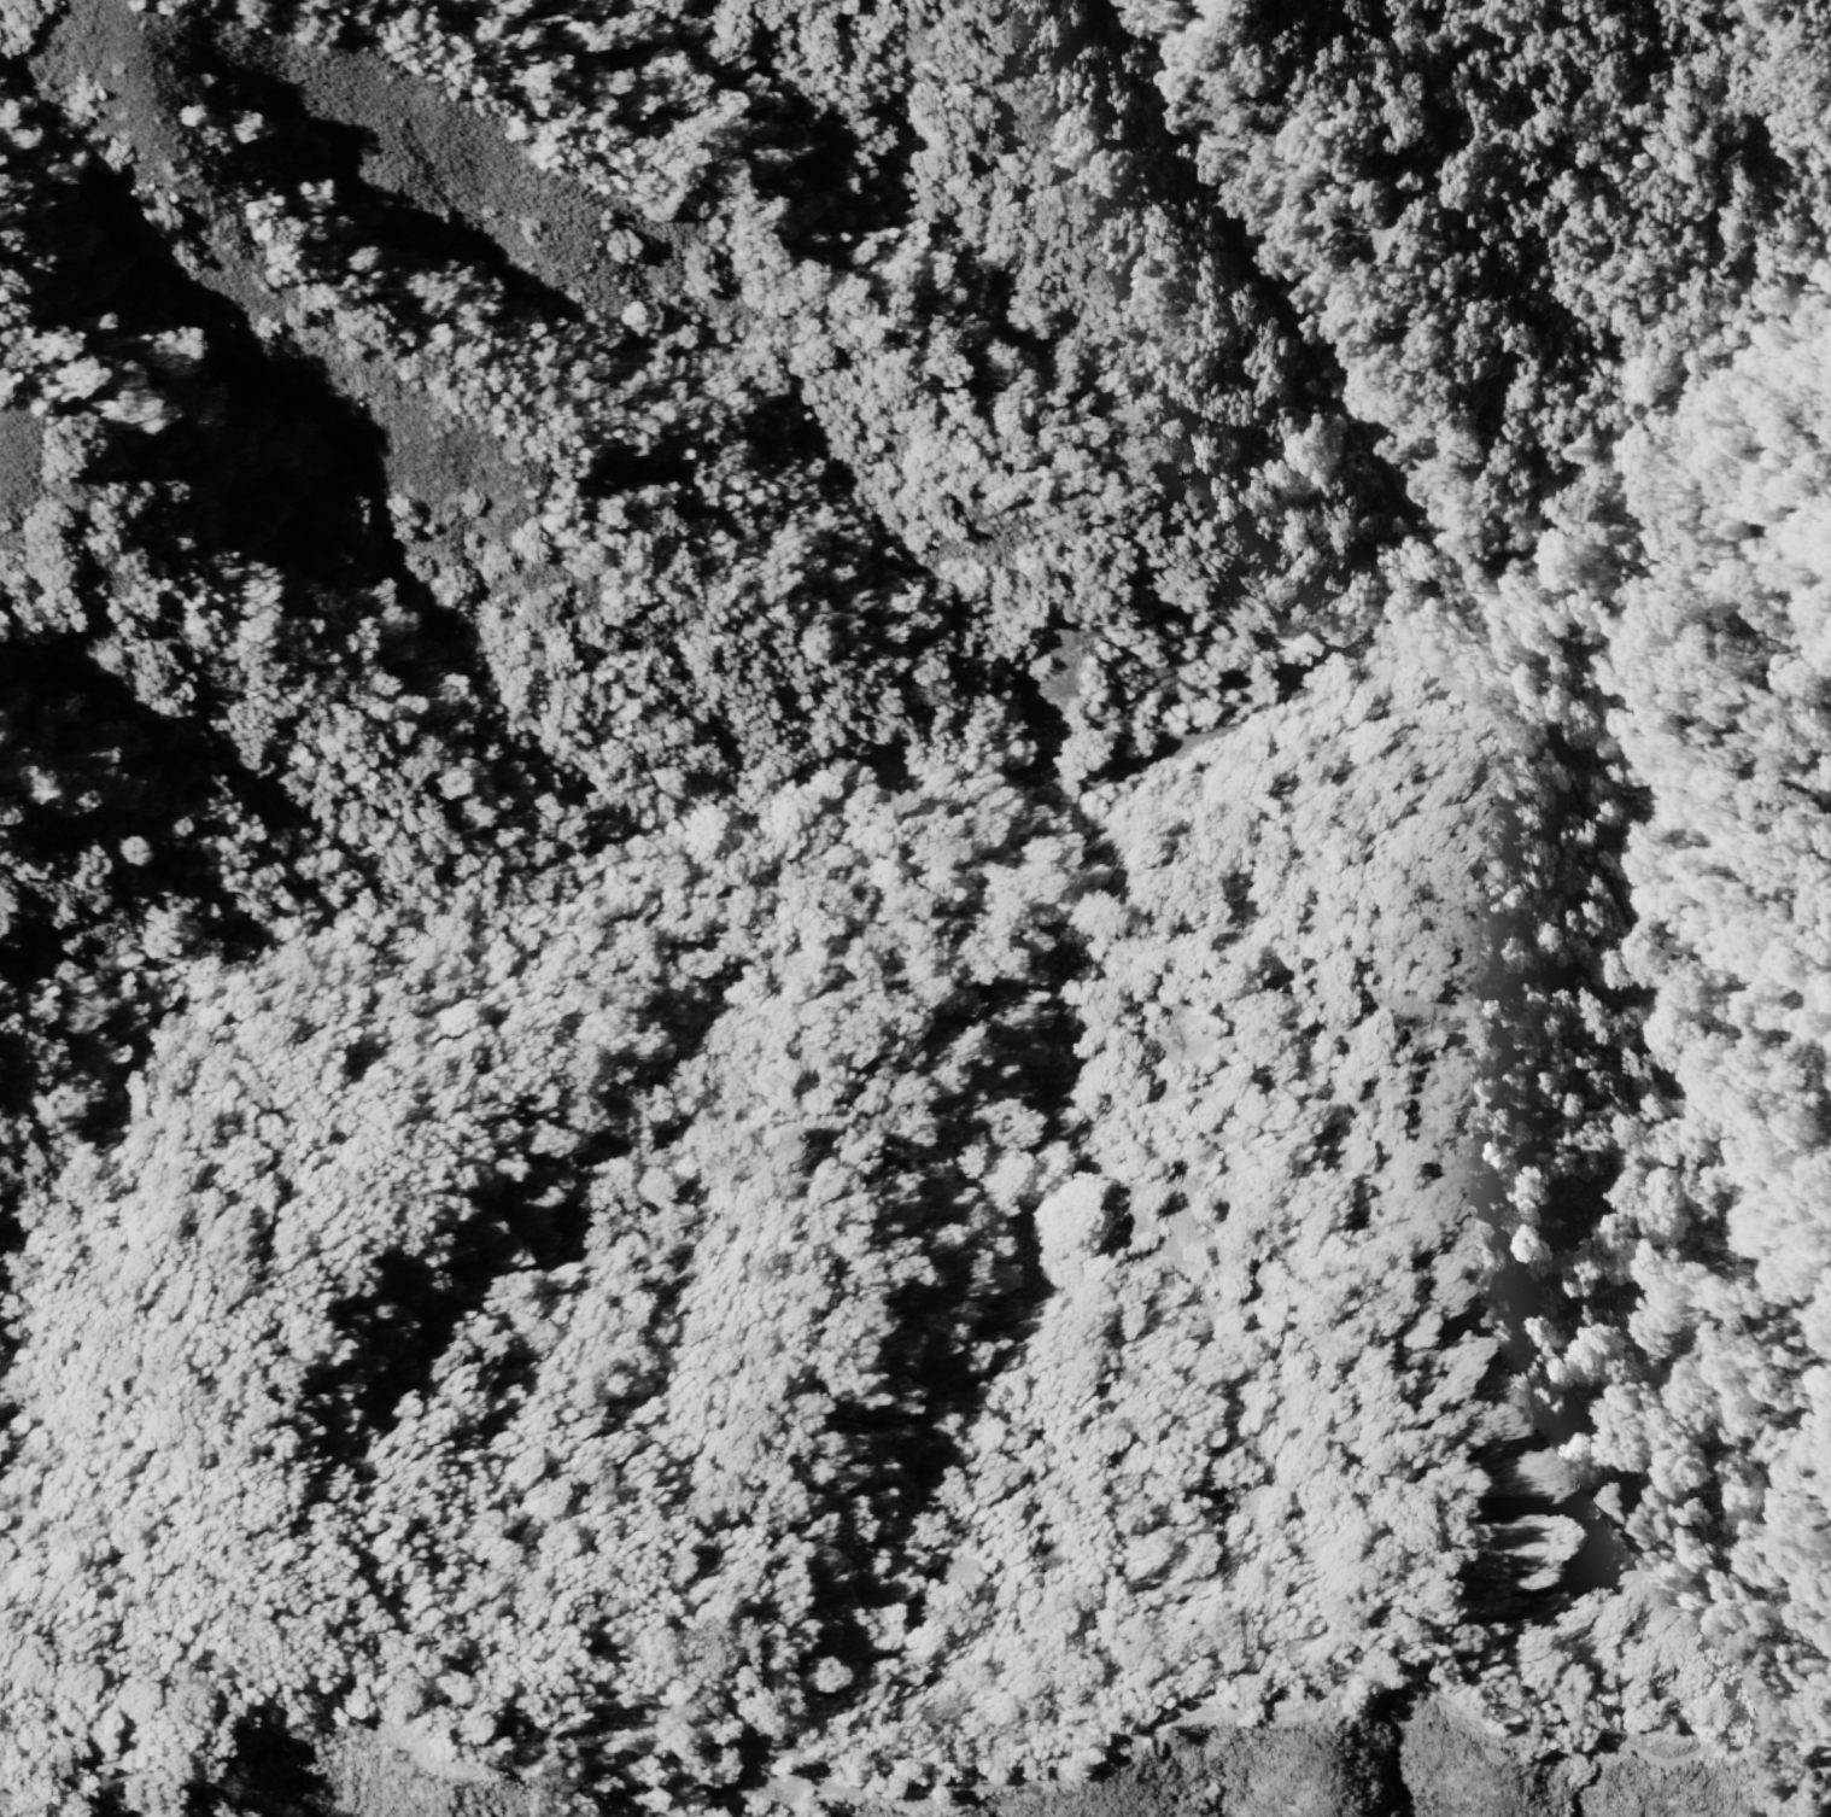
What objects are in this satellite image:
building: (1100, 756)
building: (1040, 761)

